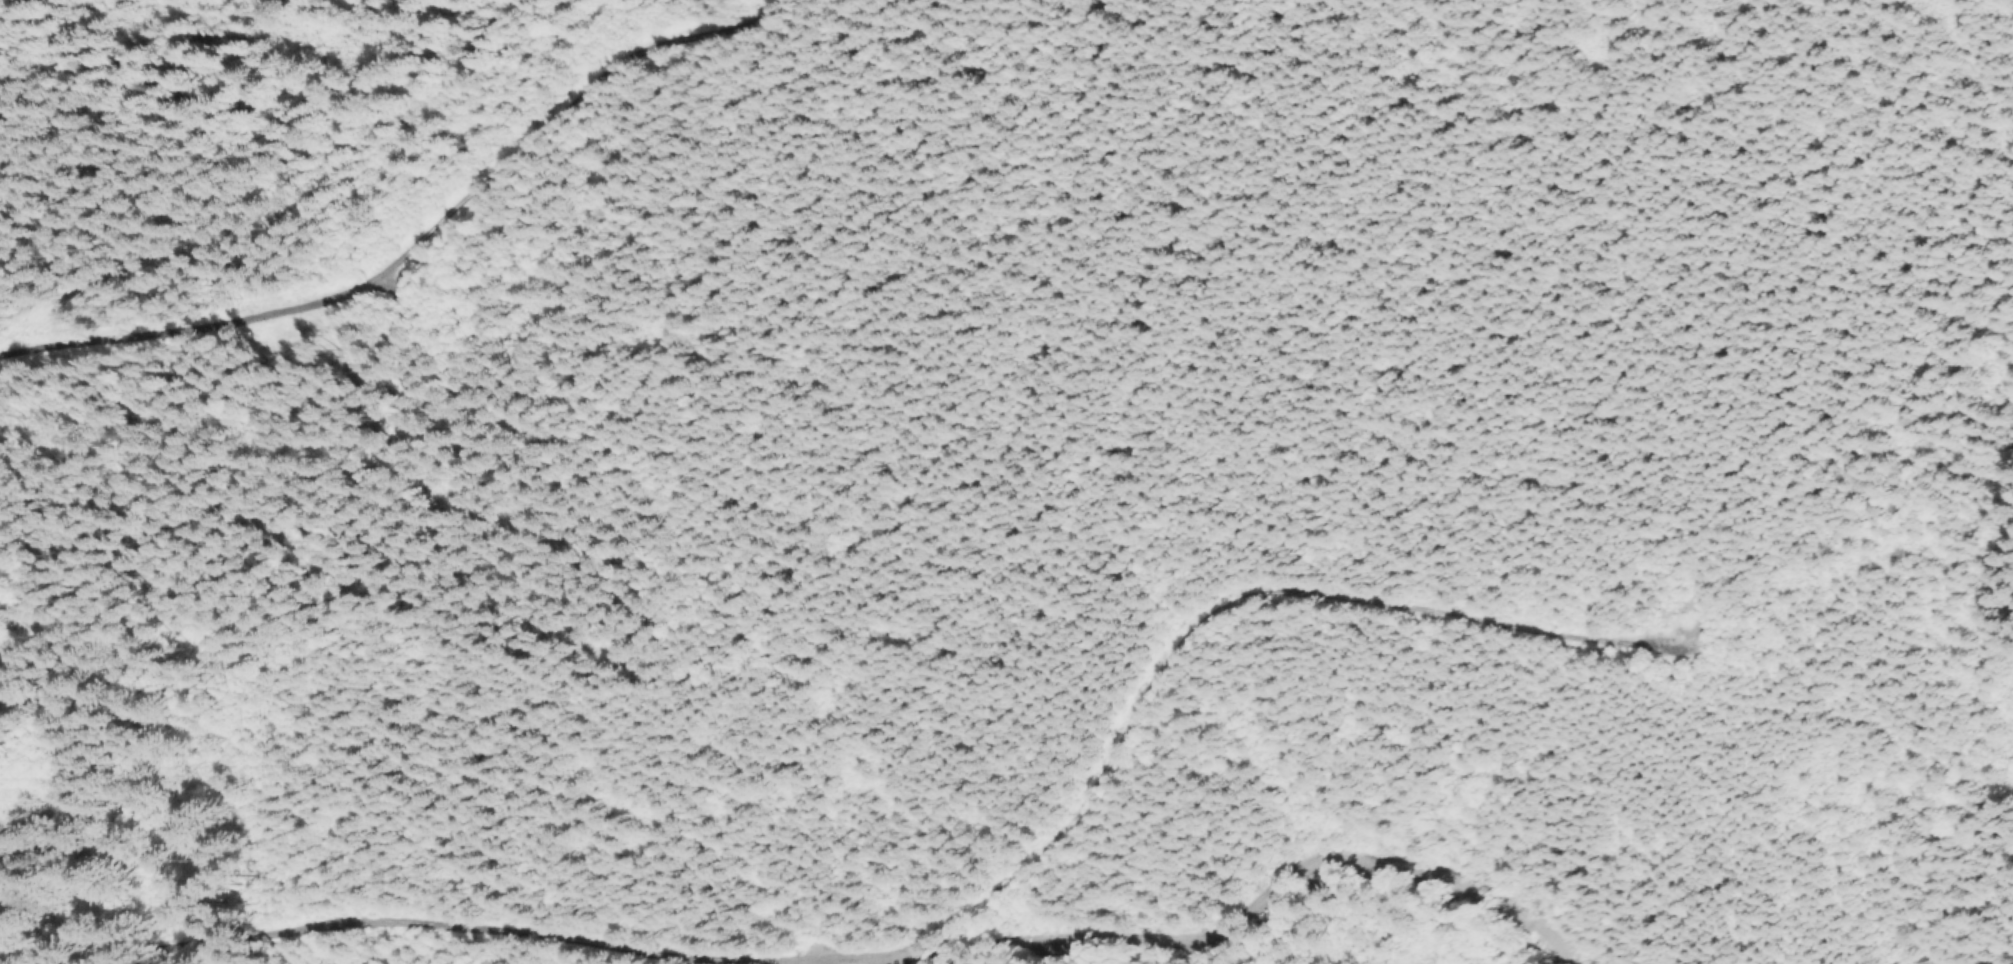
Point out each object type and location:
road: (397, 258)
road: (1216, 610)
road: (1254, 893)
road: (493, 933)
parking lot: (895, 954)
road: (813, 961)

